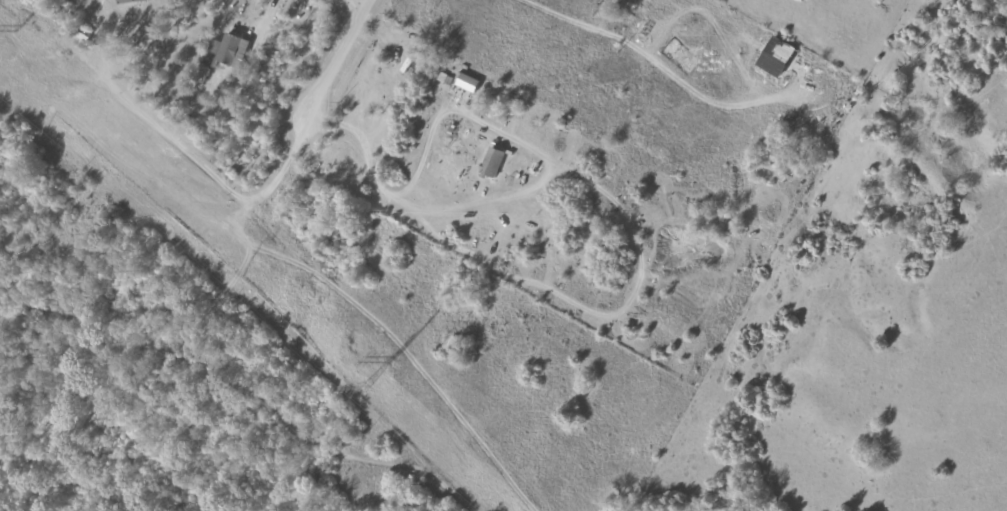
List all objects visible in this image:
building: (127, 0)
road: (356, 3)
power tower: (18, 29)
building: (225, 50)
building: (773, 55)
road: (335, 60)
building: (464, 81)
road: (479, 121)
building: (490, 162)
road: (357, 307)
power tower: (392, 363)
power tower: (363, 389)

